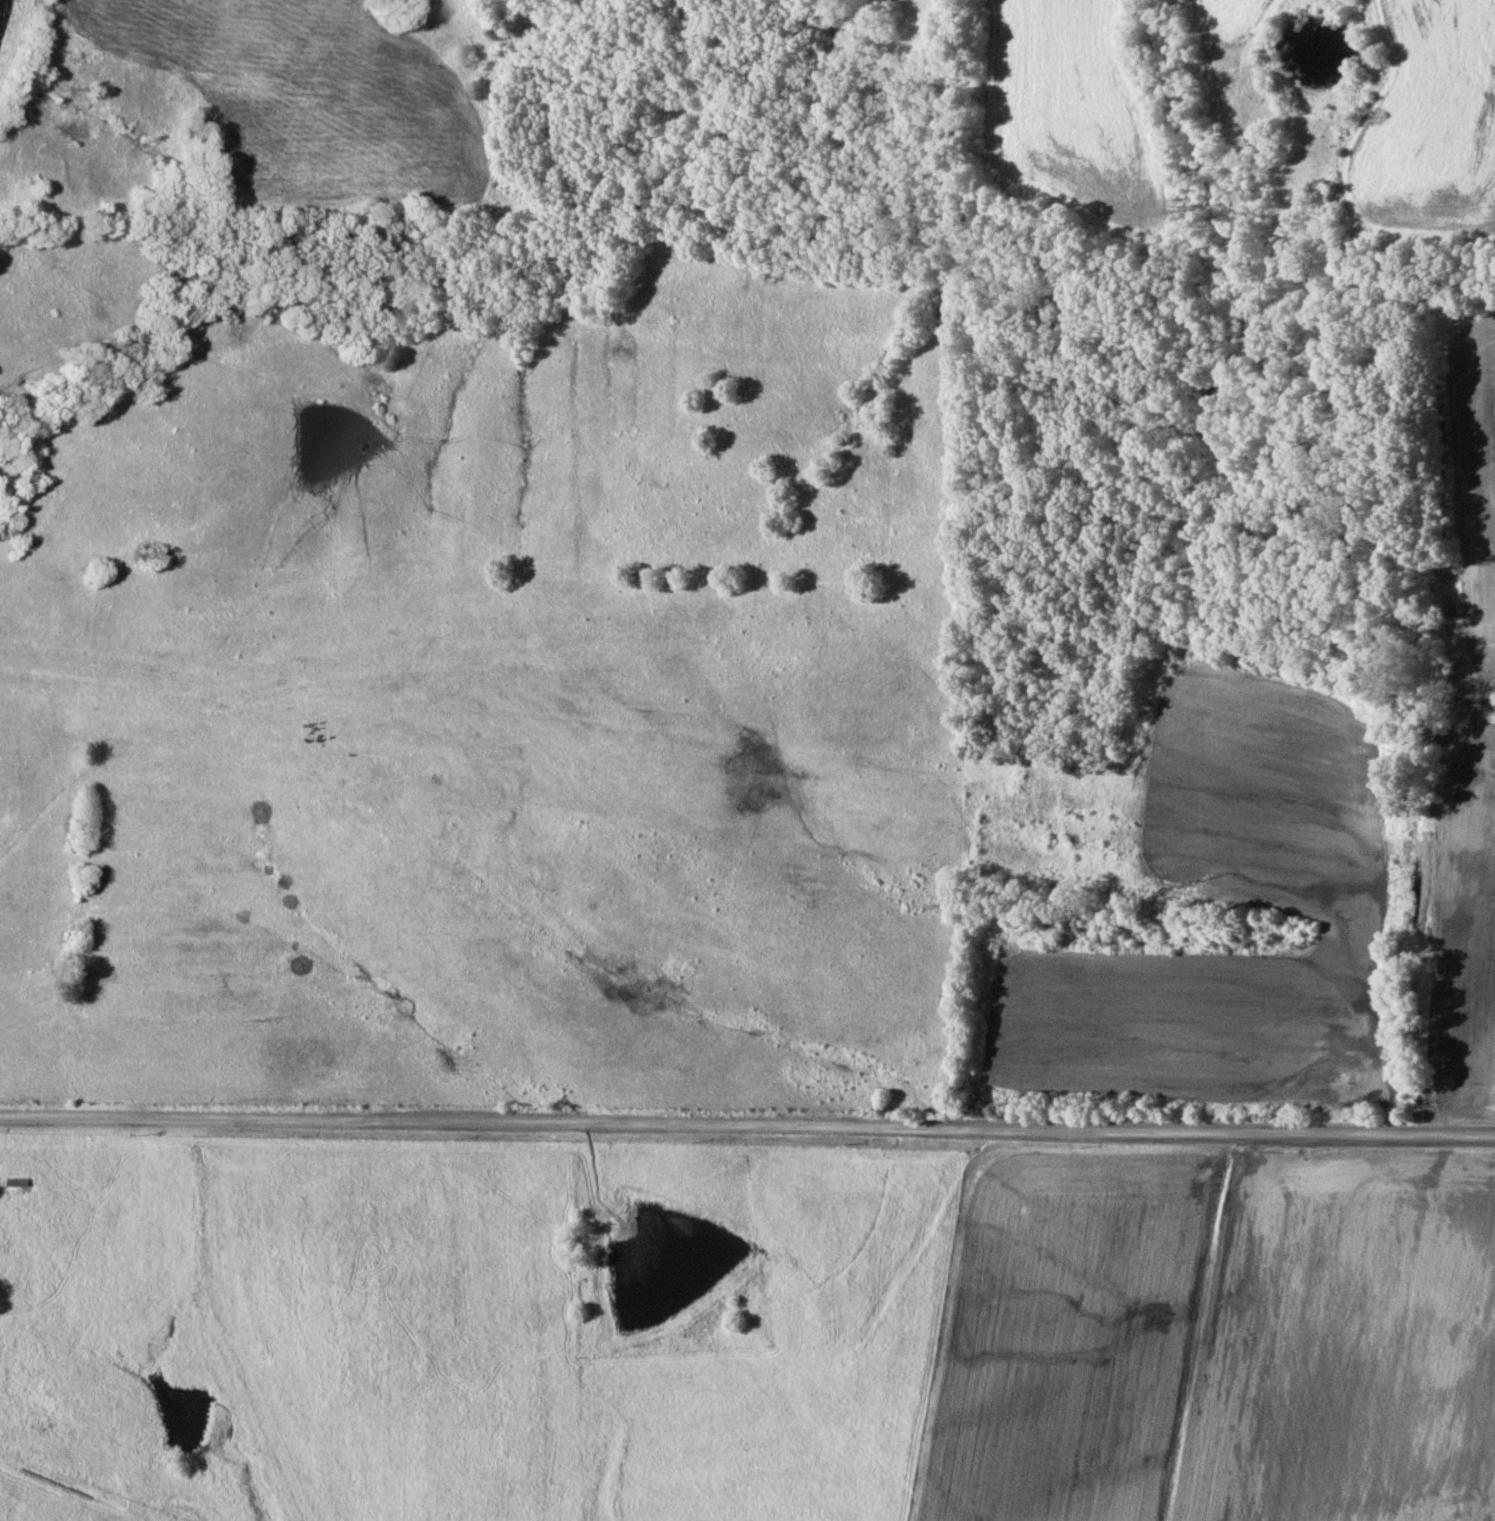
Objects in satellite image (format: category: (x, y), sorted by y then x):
road: (747, 1128)
building: (17, 1182)

